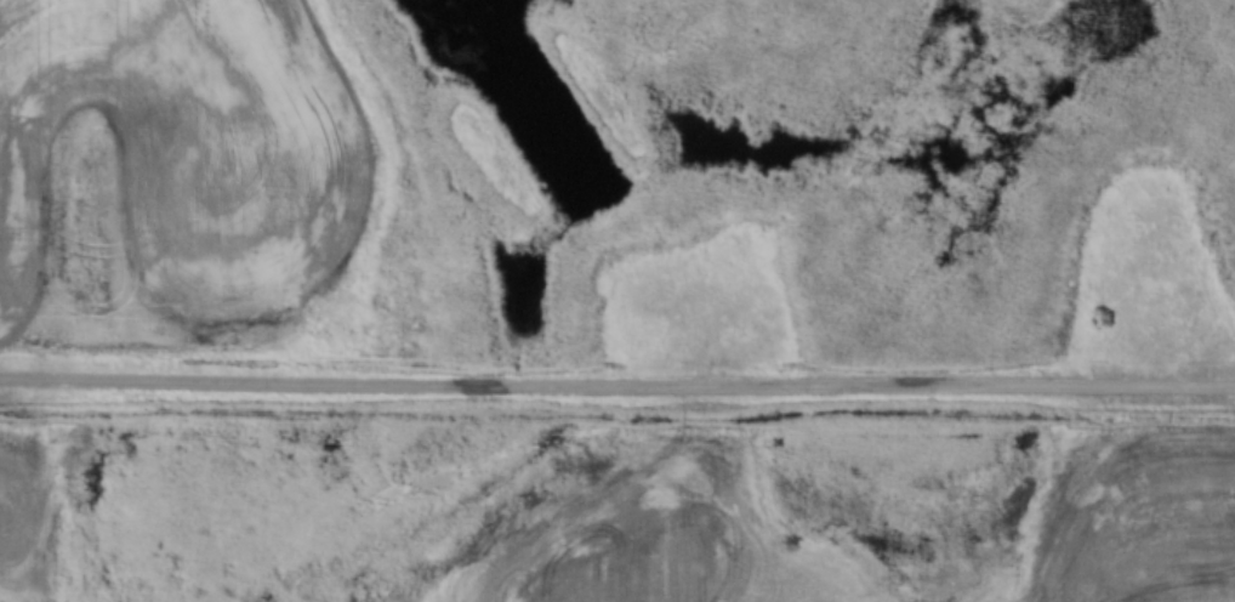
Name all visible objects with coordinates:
road: (617, 387)

